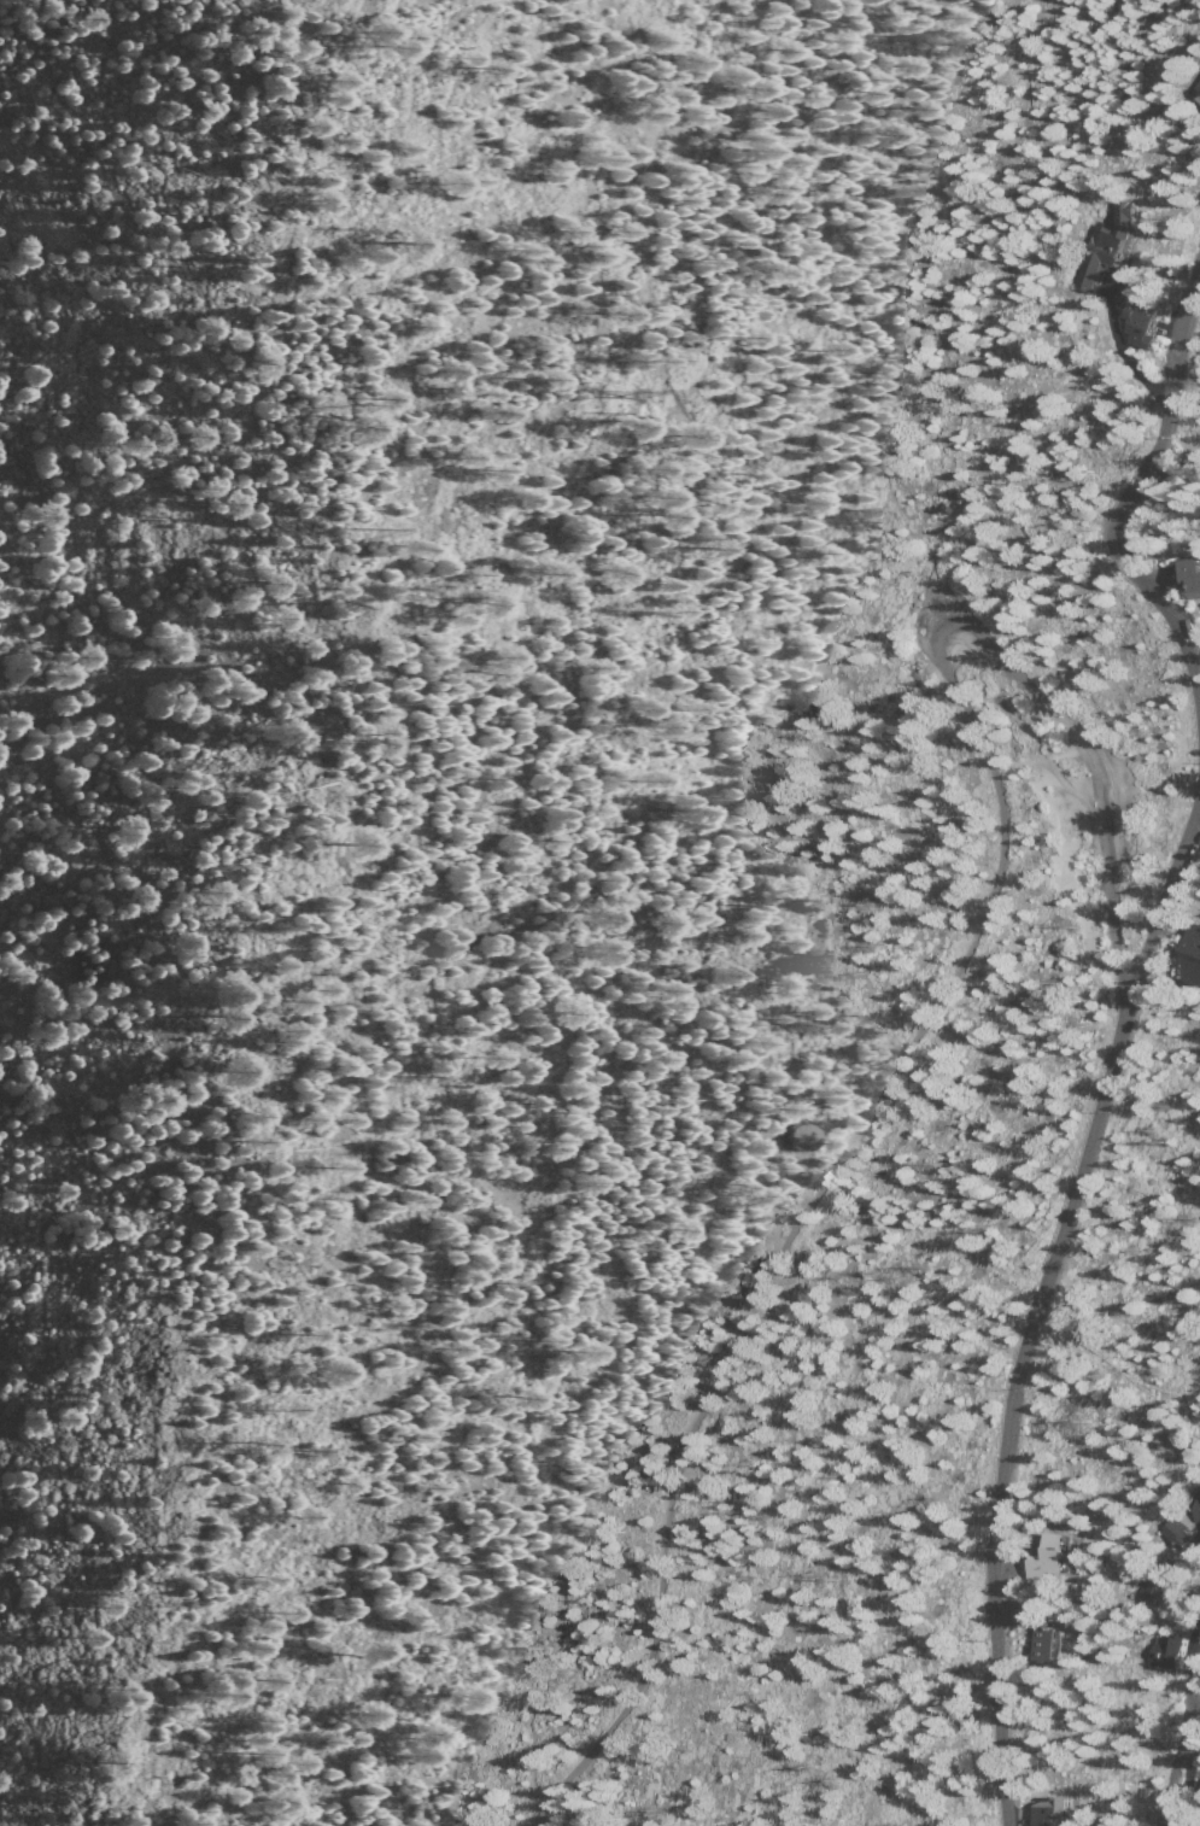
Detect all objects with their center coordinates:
building: (1111, 242)
road: (1138, 486)
road: (996, 776)
building: (1192, 956)
road: (429, 976)
road: (1036, 1297)
building: (1178, 1532)
road: (643, 1539)
building: (1199, 1544)
building: (1059, 1557)
building: (1155, 1586)
building: (1056, 1645)
building: (1172, 1652)
road: (1194, 1723)
road: (1183, 1745)
building: (1063, 1809)
road: (511, 1820)

